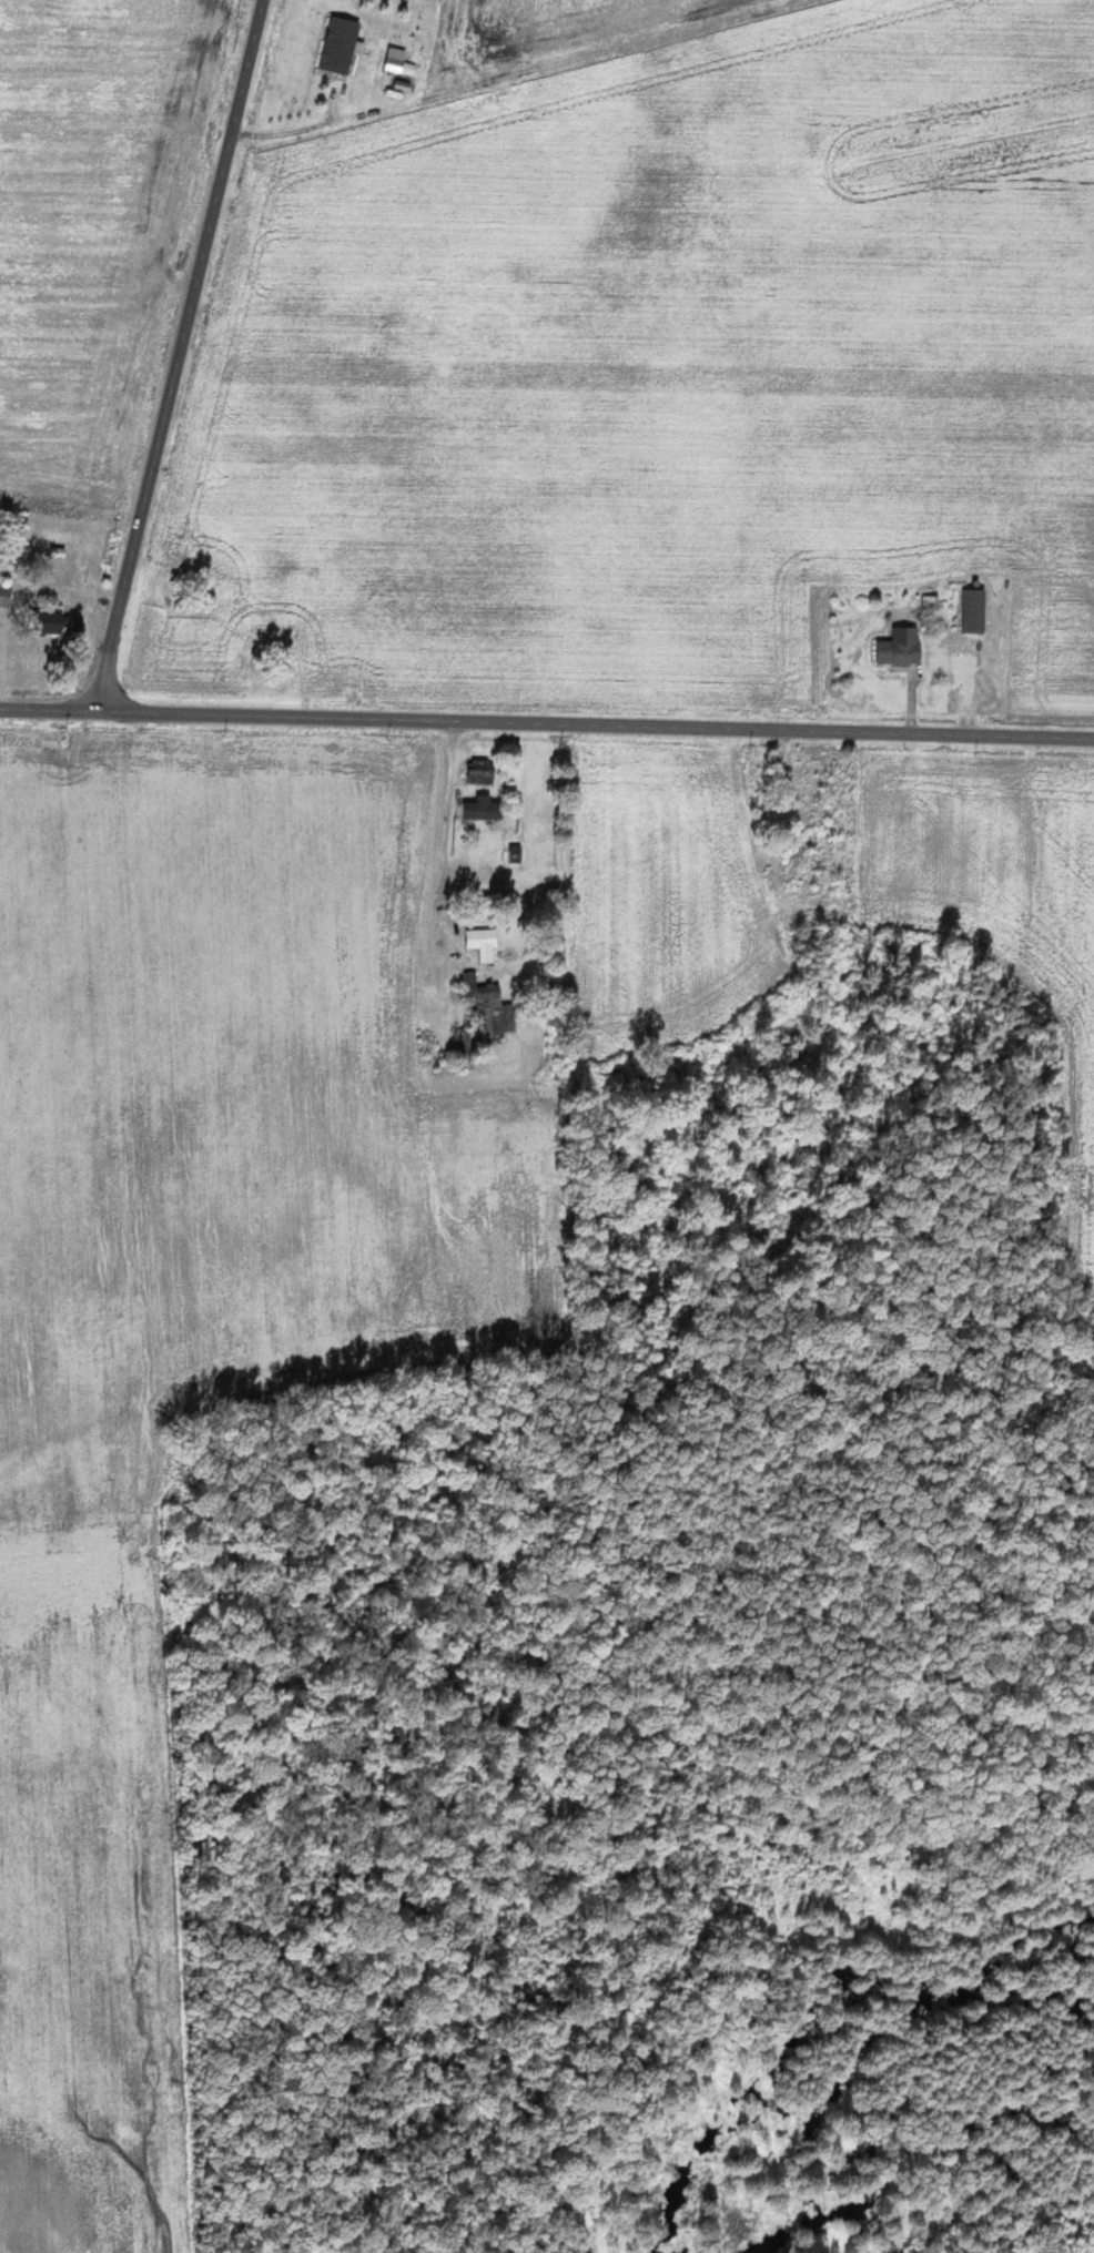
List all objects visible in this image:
building: (343, 45)
building: (399, 62)
road: (183, 355)
building: (6, 595)
building: (975, 610)
building: (53, 621)
building: (903, 647)
road: (47, 709)
road: (594, 723)
building: (483, 771)
building: (482, 808)
building: (483, 942)
building: (493, 1012)

